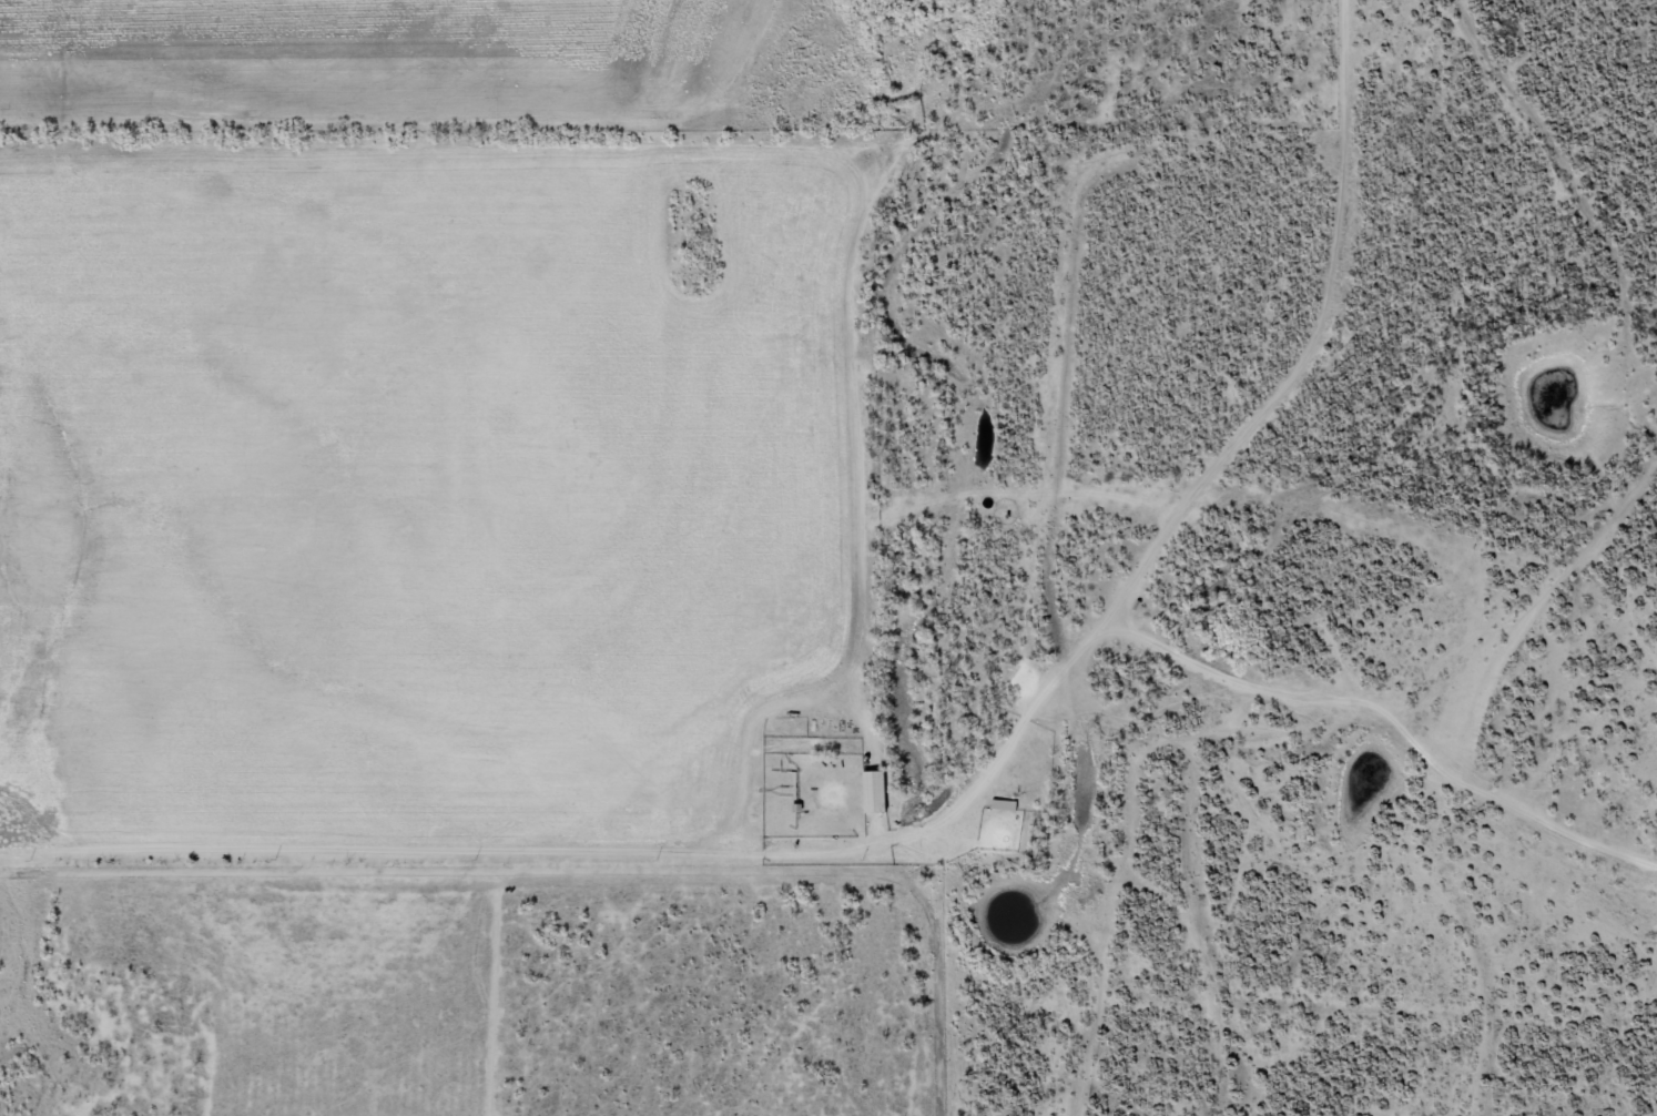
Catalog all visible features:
building: (873, 790)

